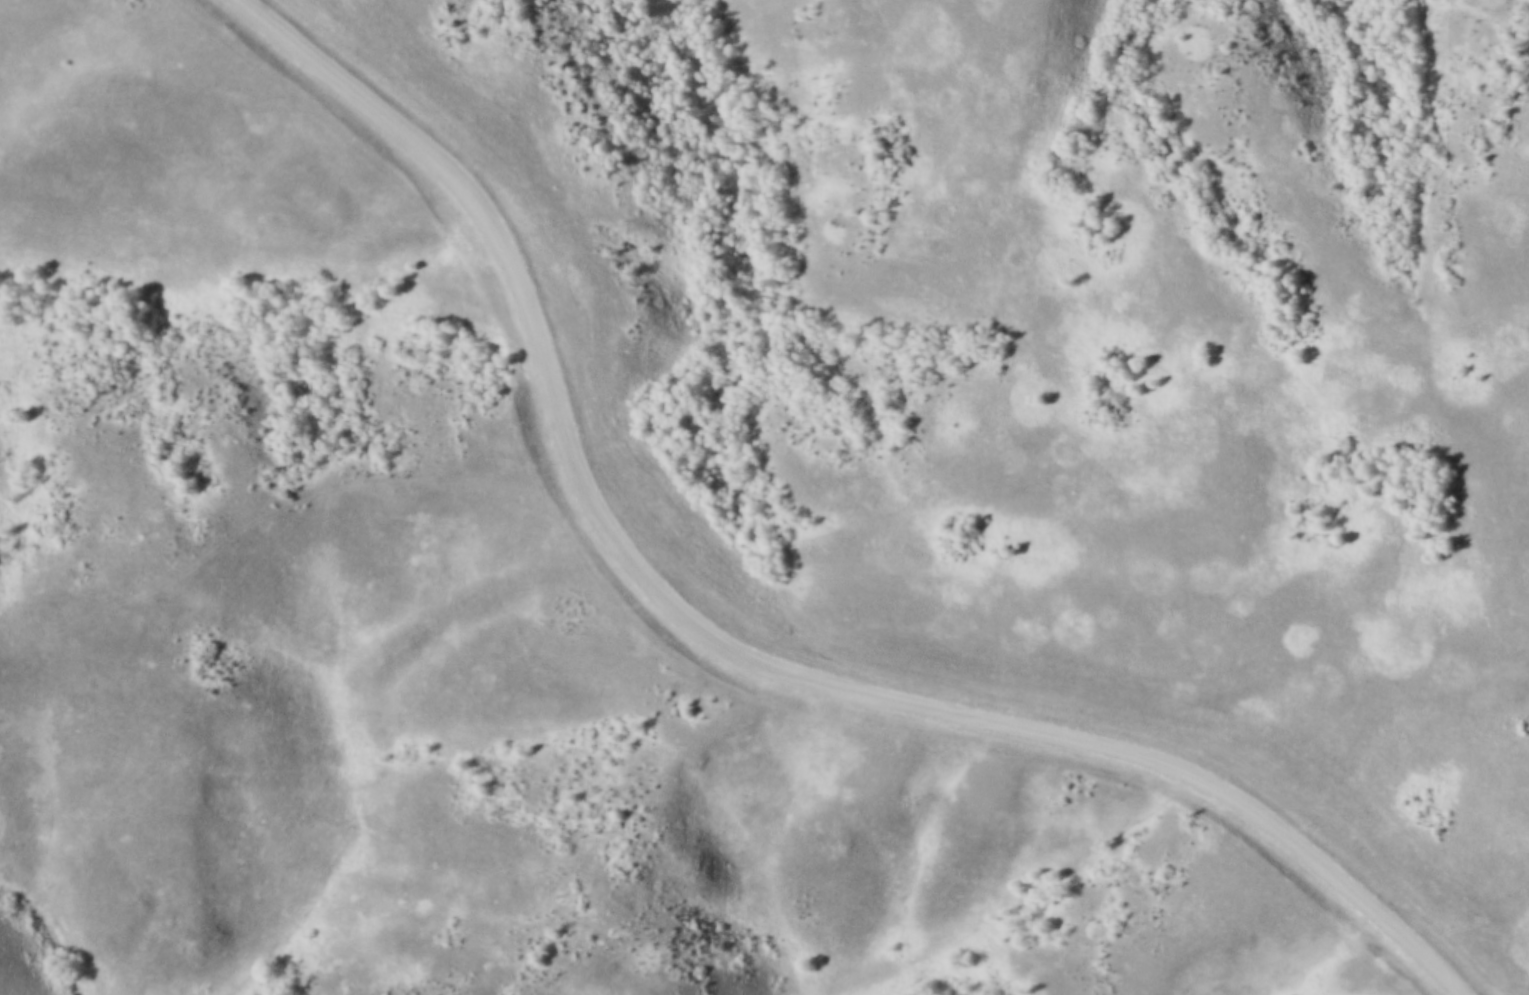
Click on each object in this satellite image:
road: (305, 499)
road: (742, 640)

